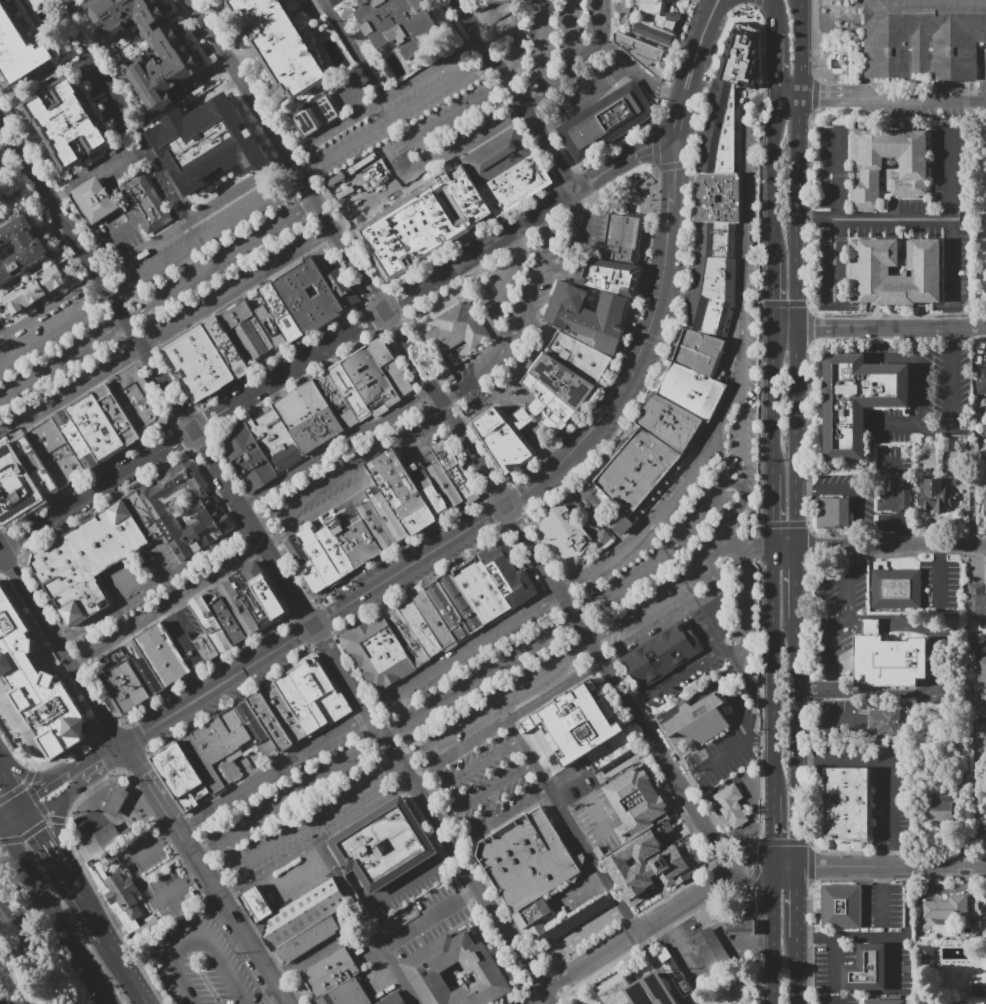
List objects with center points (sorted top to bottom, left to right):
building: (503, 1)
road: (706, 3)
road: (713, 3)
road: (716, 3)
road: (718, 3)
road: (757, 3)
building: (661, 14)
road: (771, 15)
road: (775, 17)
road: (208, 26)
building: (401, 26)
road: (515, 29)
road: (573, 31)
building: (653, 34)
parking lot: (552, 37)
building: (925, 38)
road: (814, 39)
road: (476, 41)
building: (283, 44)
road: (544, 44)
building: (150, 48)
road: (355, 48)
building: (19, 49)
road: (804, 49)
building: (644, 54)
road: (581, 55)
building: (742, 56)
road: (489, 61)
road: (776, 66)
road: (689, 73)
road: (511, 76)
road: (984, 81)
road: (900, 82)
road: (652, 83)
road: (503, 87)
road: (585, 94)
road: (815, 95)
road: (517, 96)
road: (385, 97)
road: (790, 98)
road: (829, 98)
road: (919, 99)
parking lot: (923, 101)
road: (121, 104)
road: (258, 106)
road: (523, 107)
road: (252, 112)
building: (313, 116)
road: (399, 117)
building: (606, 121)
building: (68, 123)
parking lot: (402, 128)
building: (721, 128)
road: (543, 129)
road: (204, 142)
building: (205, 142)
road: (412, 144)
road: (646, 148)
road: (296, 156)
building: (497, 156)
road: (809, 158)
road: (127, 163)
road: (286, 165)
road: (427, 167)
building: (863, 170)
road: (302, 177)
road: (105, 178)
road: (775, 181)
road: (173, 183)
road: (672, 183)
building: (516, 185)
park: (631, 193)
road: (56, 197)
road: (579, 197)
building: (718, 197)
road: (566, 198)
building: (95, 201)
road: (317, 202)
building: (146, 203)
road: (802, 212)
road: (545, 218)
road: (808, 218)
road: (820, 218)
road: (839, 218)
road: (895, 218)
road: (192, 221)
building: (425, 222)
road: (951, 223)
road: (746, 226)
road: (332, 227)
building: (624, 234)
road: (113, 237)
road: (515, 237)
building: (717, 239)
road: (203, 240)
building: (19, 246)
parking lot: (217, 250)
road: (90, 251)
park: (983, 252)
road: (578, 253)
road: (219, 262)
building: (897, 269)
road: (806, 270)
building: (867, 270)
building: (611, 276)
road: (99, 278)
building: (715, 278)
road: (235, 288)
building: (343, 288)
building: (38, 292)
road: (499, 294)
road: (775, 295)
building: (309, 296)
road: (111, 298)
road: (783, 303)
road: (46, 310)
parking lot: (522, 310)
building: (281, 312)
building: (590, 316)
building: (708, 316)
road: (123, 320)
road: (521, 321)
road: (952, 321)
building: (271, 326)
road: (787, 326)
road: (892, 326)
road: (810, 328)
building: (457, 330)
building: (247, 332)
road: (52, 334)
road: (399, 334)
road: (1, 335)
road: (141, 347)
building: (227, 347)
building: (381, 351)
building: (702, 353)
parking lot: (54, 358)
building: (580, 358)
road: (893, 358)
road: (59, 362)
building: (199, 364)
road: (521, 374)
building: (398, 378)
building: (371, 379)
building: (981, 379)
building: (564, 382)
road: (623, 386)
building: (690, 389)
road: (257, 391)
building: (350, 392)
road: (67, 393)
road: (428, 393)
road: (447, 399)
building: (551, 399)
road: (775, 400)
building: (859, 400)
building: (336, 401)
building: (140, 403)
building: (301, 405)
road: (759, 413)
building: (117, 414)
road: (807, 414)
road: (184, 415)
road: (442, 416)
building: (549, 417)
building: (520, 420)
road: (893, 423)
road: (462, 424)
building: (673, 424)
building: (96, 427)
road: (934, 430)
building: (317, 431)
road: (743, 433)
road: (799, 435)
building: (47, 437)
building: (275, 440)
building: (78, 441)
building: (503, 441)
building: (948, 444)
road: (338, 448)
building: (246, 457)
building: (35, 466)
building: (65, 467)
parking lot: (348, 468)
road: (350, 468)
building: (638, 470)
building: (456, 473)
building: (445, 485)
building: (16, 487)
building: (429, 490)
road: (803, 491)
road: (854, 491)
building: (402, 492)
road: (808, 493)
building: (935, 494)
building: (984, 497)
road: (675, 498)
road: (743, 498)
building: (895, 498)
road: (247, 504)
road: (328, 508)
building: (185, 509)
road: (775, 510)
building: (833, 513)
building: (601, 515)
building: (144, 516)
road: (808, 517)
building: (391, 518)
road: (783, 523)
road: (261, 526)
road: (726, 526)
building: (377, 527)
building: (565, 534)
building: (356, 540)
road: (854, 540)
road: (271, 543)
road: (811, 545)
road: (729, 546)
road: (880, 546)
road: (760, 547)
road: (260, 549)
road: (671, 550)
building: (297, 551)
road: (1, 552)
building: (336, 552)
road: (851, 552)
road: (709, 555)
building: (319, 557)
building: (88, 561)
road: (410, 566)
parking lot: (630, 569)
building: (509, 573)
building: (313, 577)
road: (156, 583)
road: (799, 583)
road: (848, 587)
parking lot: (159, 589)
building: (896, 589)
building: (483, 590)
building: (267, 591)
road: (561, 593)
building: (252, 600)
road: (654, 600)
building: (978, 601)
building: (462, 602)
road: (37, 606)
road: (169, 606)
building: (239, 609)
building: (449, 611)
building: (433, 617)
road: (576, 618)
road: (855, 621)
building: (228, 622)
road: (667, 623)
building: (211, 625)
road: (889, 625)
road: (871, 626)
building: (421, 627)
road: (7, 632)
road: (698, 633)
parking lot: (16, 635)
building: (407, 637)
road: (592, 642)
road: (832, 643)
road: (7, 649)
building: (207, 649)
building: (985, 649)
road: (738, 650)
building: (190, 653)
building: (379, 653)
building: (663, 655)
road: (461, 656)
building: (164, 657)
building: (887, 659)
road: (79, 663)
road: (936, 664)
road: (604, 665)
road: (775, 671)
building: (981, 672)
building: (149, 678)
road: (481, 678)
road: (675, 679)
building: (312, 681)
road: (832, 683)
road: (220, 685)
road: (755, 686)
building: (127, 688)
road: (619, 689)
road: (723, 690)
road: (815, 690)
road: (702, 691)
road: (497, 702)
road: (684, 704)
road: (98, 705)
building: (298, 705)
building: (55, 708)
building: (331, 708)
building: (285, 714)
building: (589, 717)
road: (663, 718)
traffic signals: (108, 720)
building: (701, 721)
building: (271, 723)
building: (884, 723)
road: (509, 724)
road: (836, 726)
road: (805, 727)
building: (237, 728)
building: (258, 731)
traffic signals: (144, 733)
road: (30, 734)
road: (384, 738)
road: (764, 738)
road: (801, 743)
building: (221, 750)
building: (612, 754)
road: (805, 756)
road: (847, 756)
road: (722, 758)
road: (100, 759)
traffic signals: (102, 759)
road: (401, 762)
road: (476, 764)
building: (203, 765)
road: (280, 770)
parking lot: (516, 772)
road: (28, 775)
traffic signals: (142, 775)
road: (67, 777)
building: (181, 778)
road: (74, 779)
road: (565, 779)
road: (768, 779)
road: (419, 780)
road: (685, 781)
road: (753, 784)
road: (409, 786)
road: (13, 788)
road: (491, 788)
road: (151, 789)
road: (974, 790)
road: (40, 793)
road: (428, 794)
traffic signals: (38, 795)
road: (289, 797)
road: (50, 799)
building: (116, 803)
building: (639, 803)
road: (884, 803)
building: (849, 804)
building: (732, 806)
parking lot: (294, 807)
building: (940, 808)
road: (507, 814)
road: (13, 816)
road: (442, 817)
road: (306, 821)
road: (768, 826)
road: (573, 827)
road: (60, 828)
road: (756, 829)
traffic signals: (39, 830)
road: (185, 830)
road: (775, 831)
road: (173, 837)
road: (46, 841)
road: (320, 841)
building: (100, 843)
road: (460, 845)
building: (386, 847)
road: (449, 851)
road: (199, 852)
road: (456, 852)
road: (885, 859)
building: (528, 861)
building: (655, 863)
road: (19, 866)
road: (766, 866)
road: (893, 867)
road: (885, 873)
road: (910, 873)
road: (197, 874)
road: (215, 877)
road: (142, 880)
road: (402, 880)
road: (718, 881)
road: (582, 884)
road: (474, 892)
building: (126, 896)
road: (228, 898)
road: (801, 900)
road: (884, 901)
road: (86, 906)
building: (256, 906)
building: (842, 906)
building: (947, 908)
road: (910, 912)
road: (58, 913)
building: (304, 914)
building: (535, 917)
parking lot: (11, 918)
road: (232, 918)
building: (576, 918)
road: (426, 920)
road: (10, 921)
road: (369, 923)
building: (742, 927)
gas station: (742, 927)
road: (586, 928)
road: (631, 935)
road: (774, 935)
road: (805, 935)
road: (823, 935)
road: (866, 936)
building: (310, 941)
building: (31, 943)
road: (191, 944)
building: (714, 952)
park: (35, 955)
building: (925, 955)
road: (577, 961)
road: (836, 961)
road: (895, 962)
parking lot: (198, 964)
road: (658, 968)
building: (867, 968)
road: (800, 969)
road: (126, 971)
building: (458, 971)
building: (332, 973)
road: (8, 982)
road: (550, 986)
building: (978, 988)
building: (651, 991)
building: (347, 994)
road: (534, 997)
road: (546, 997)
building: (394, 999)
building: (885, 1001)
road: (525, 1003)
road: (837, 1003)
building: (972, 1003)

